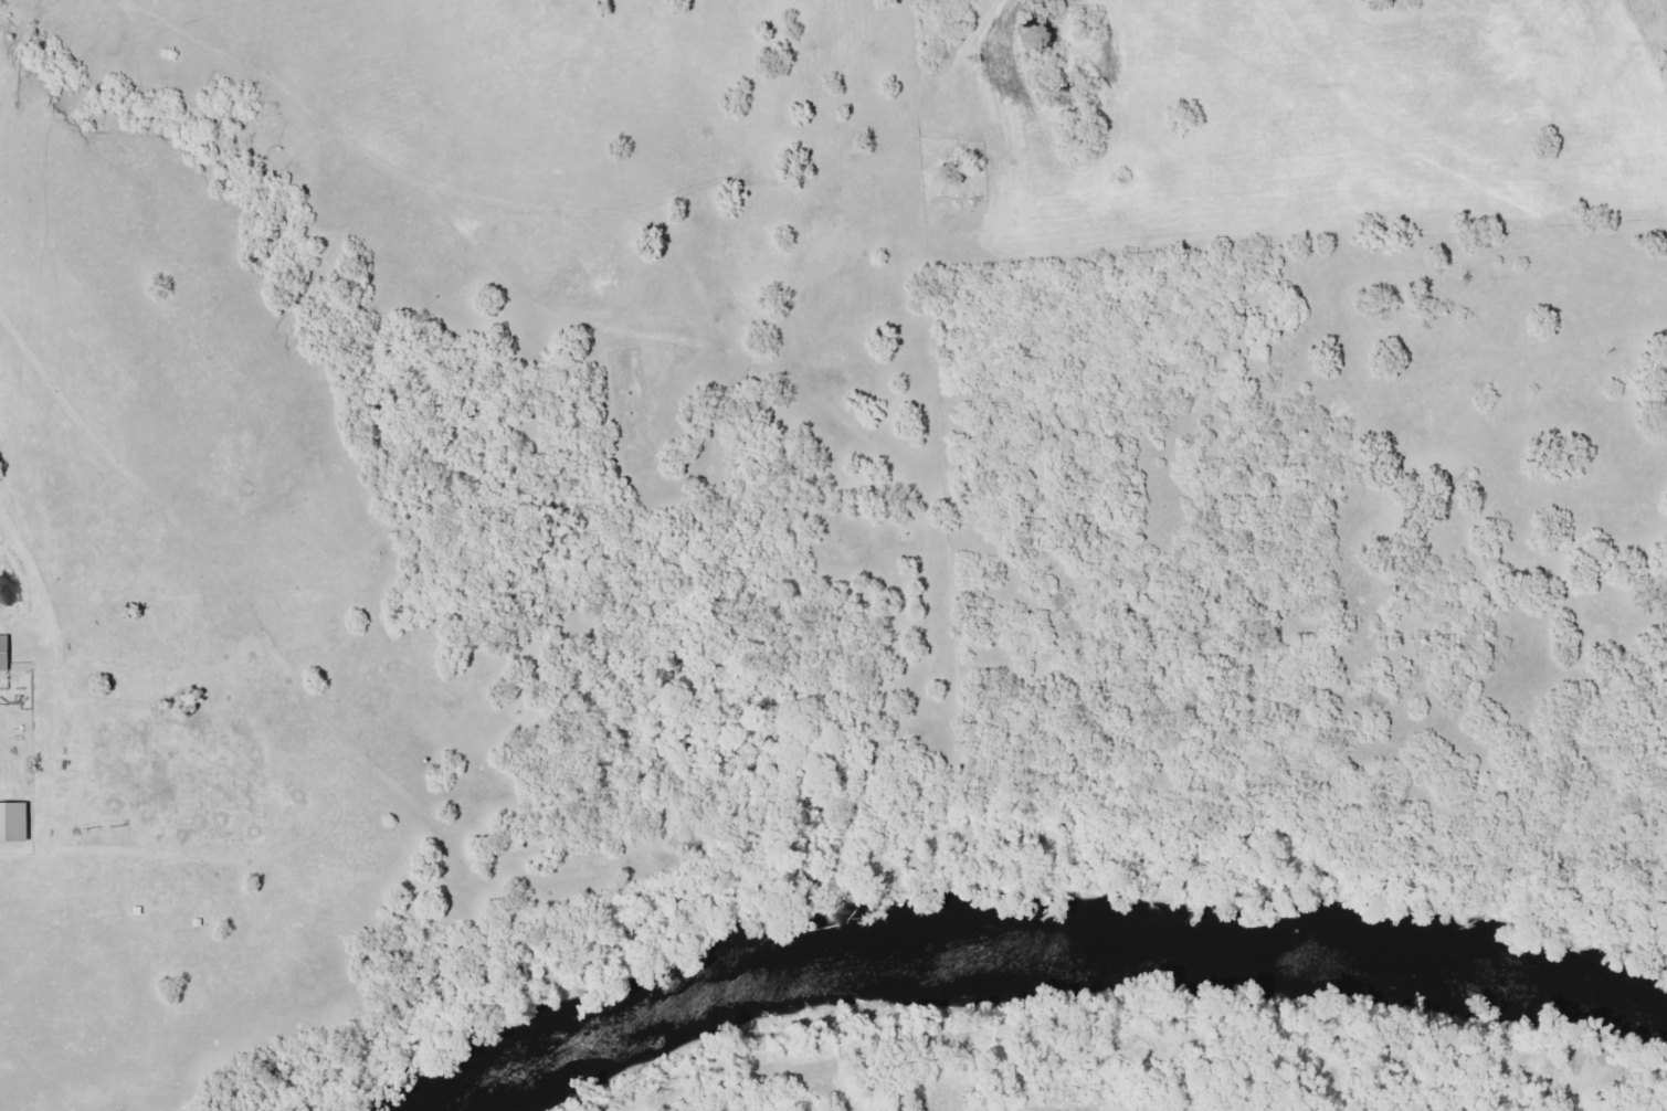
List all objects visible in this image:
road: (891, 161)
park: (949, 169)
building: (1, 652)
building: (11, 822)
river: (1045, 944)

